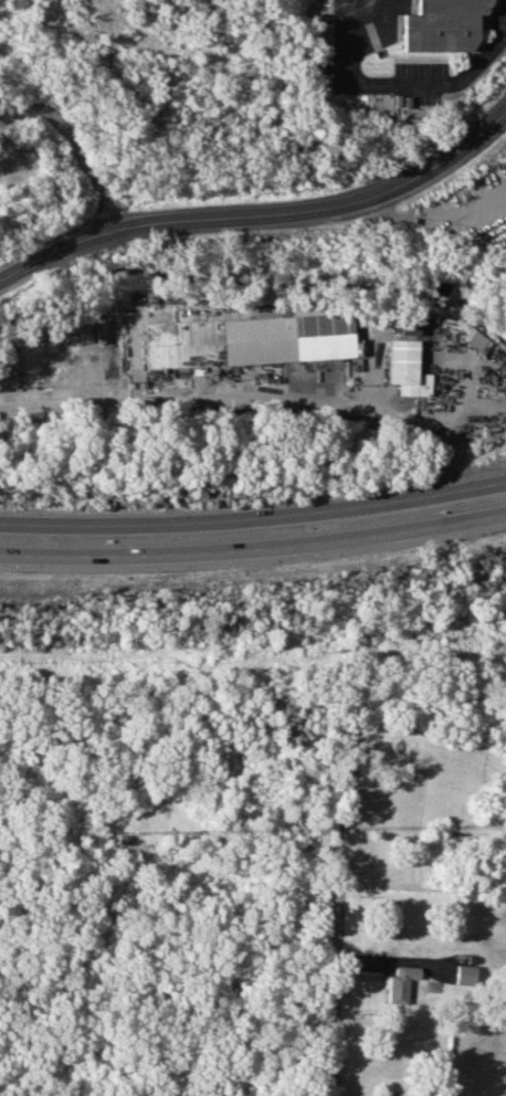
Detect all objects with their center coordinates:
building: (442, 24)
road: (394, 77)
road: (68, 147)
road: (319, 208)
road: (52, 246)
road: (104, 316)
building: (408, 325)
building: (320, 337)
building: (473, 338)
building: (404, 367)
road: (475, 386)
road: (379, 393)
road: (223, 398)
road: (380, 502)
road: (126, 526)
road: (382, 537)
road: (128, 552)
road: (342, 900)
building: (461, 973)
building: (399, 981)

